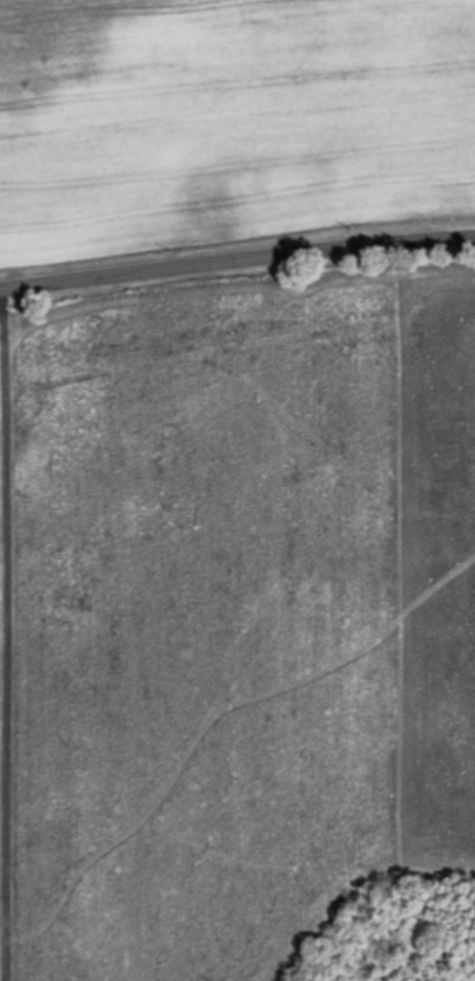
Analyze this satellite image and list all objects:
road: (236, 256)

